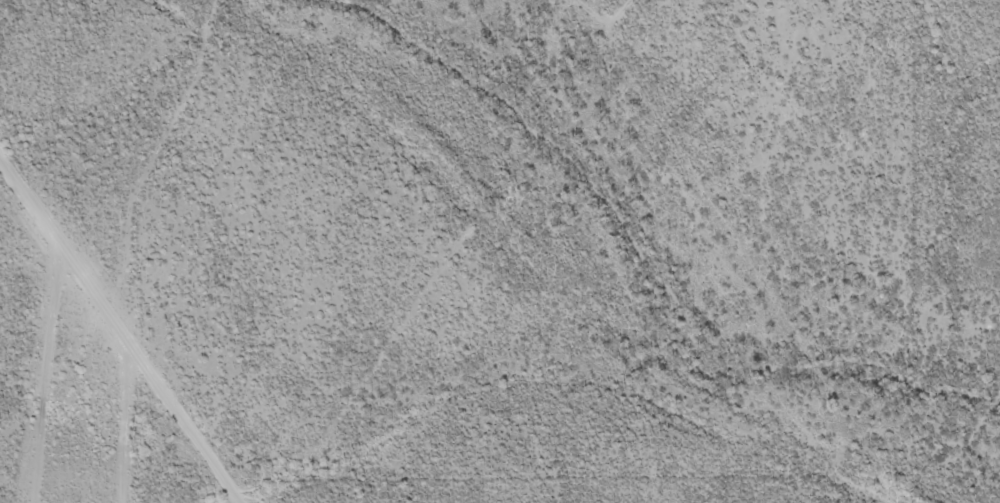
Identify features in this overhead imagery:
road: (841, 251)
road: (935, 463)

